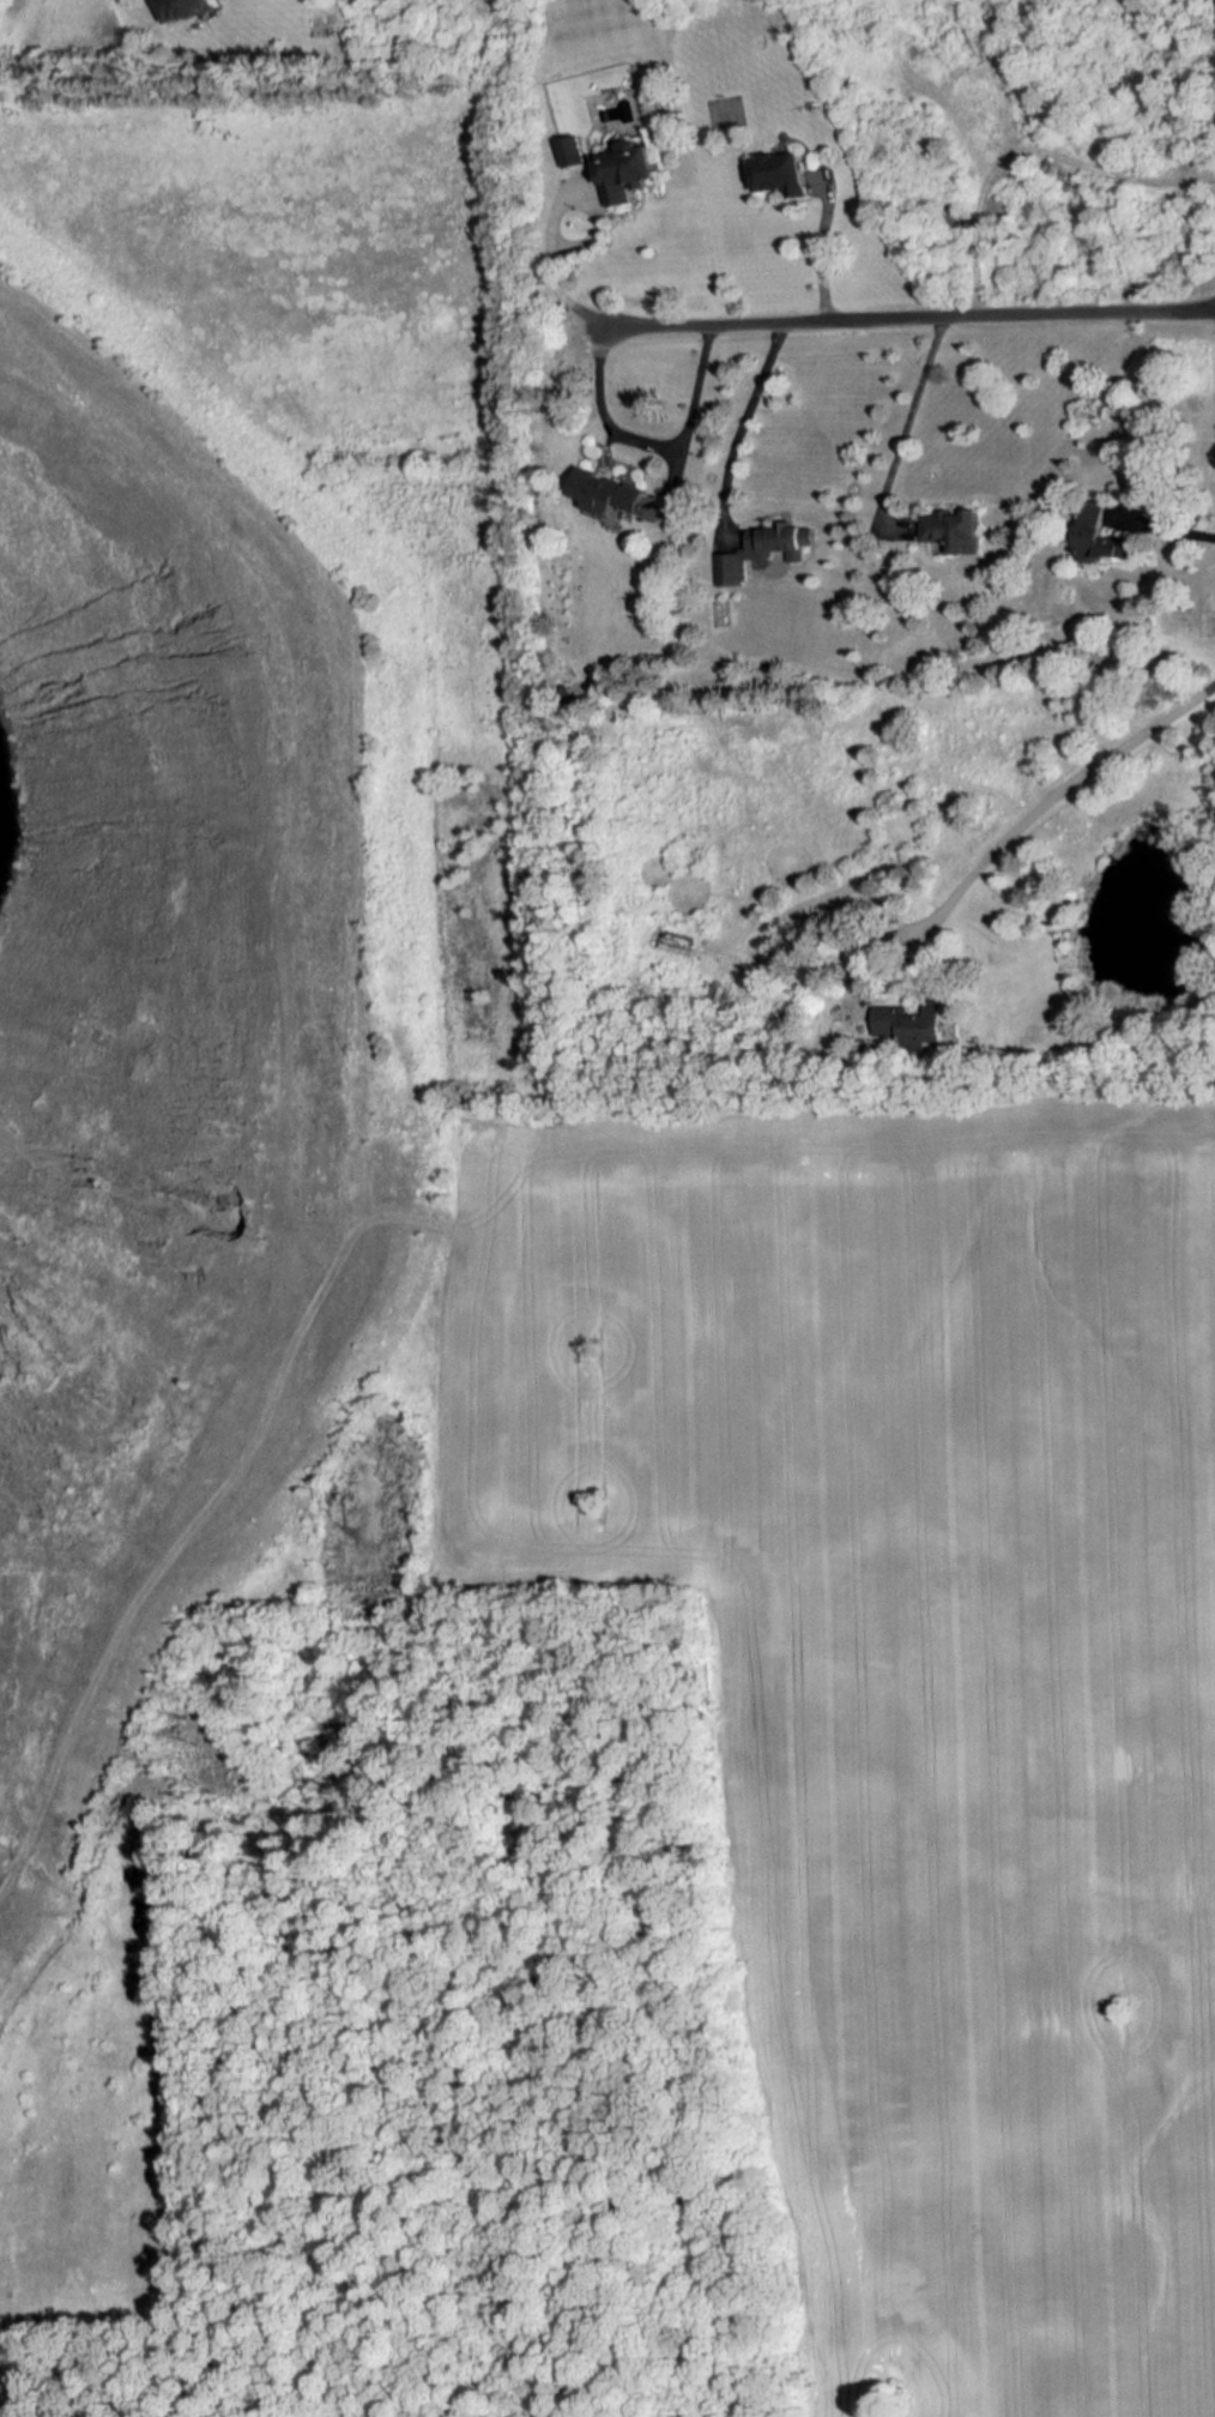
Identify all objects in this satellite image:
building: (182, 10)
building: (724, 111)
building: (572, 151)
building: (625, 164)
building: (780, 170)
road: (820, 242)
road: (552, 279)
road: (906, 315)
road: (750, 406)
road: (909, 414)
road: (651, 445)
building: (603, 495)
road: (1166, 520)
building: (944, 531)
building: (1100, 541)
building: (764, 548)
road: (1052, 795)
building: (908, 1024)
quarry: (176, 1050)

